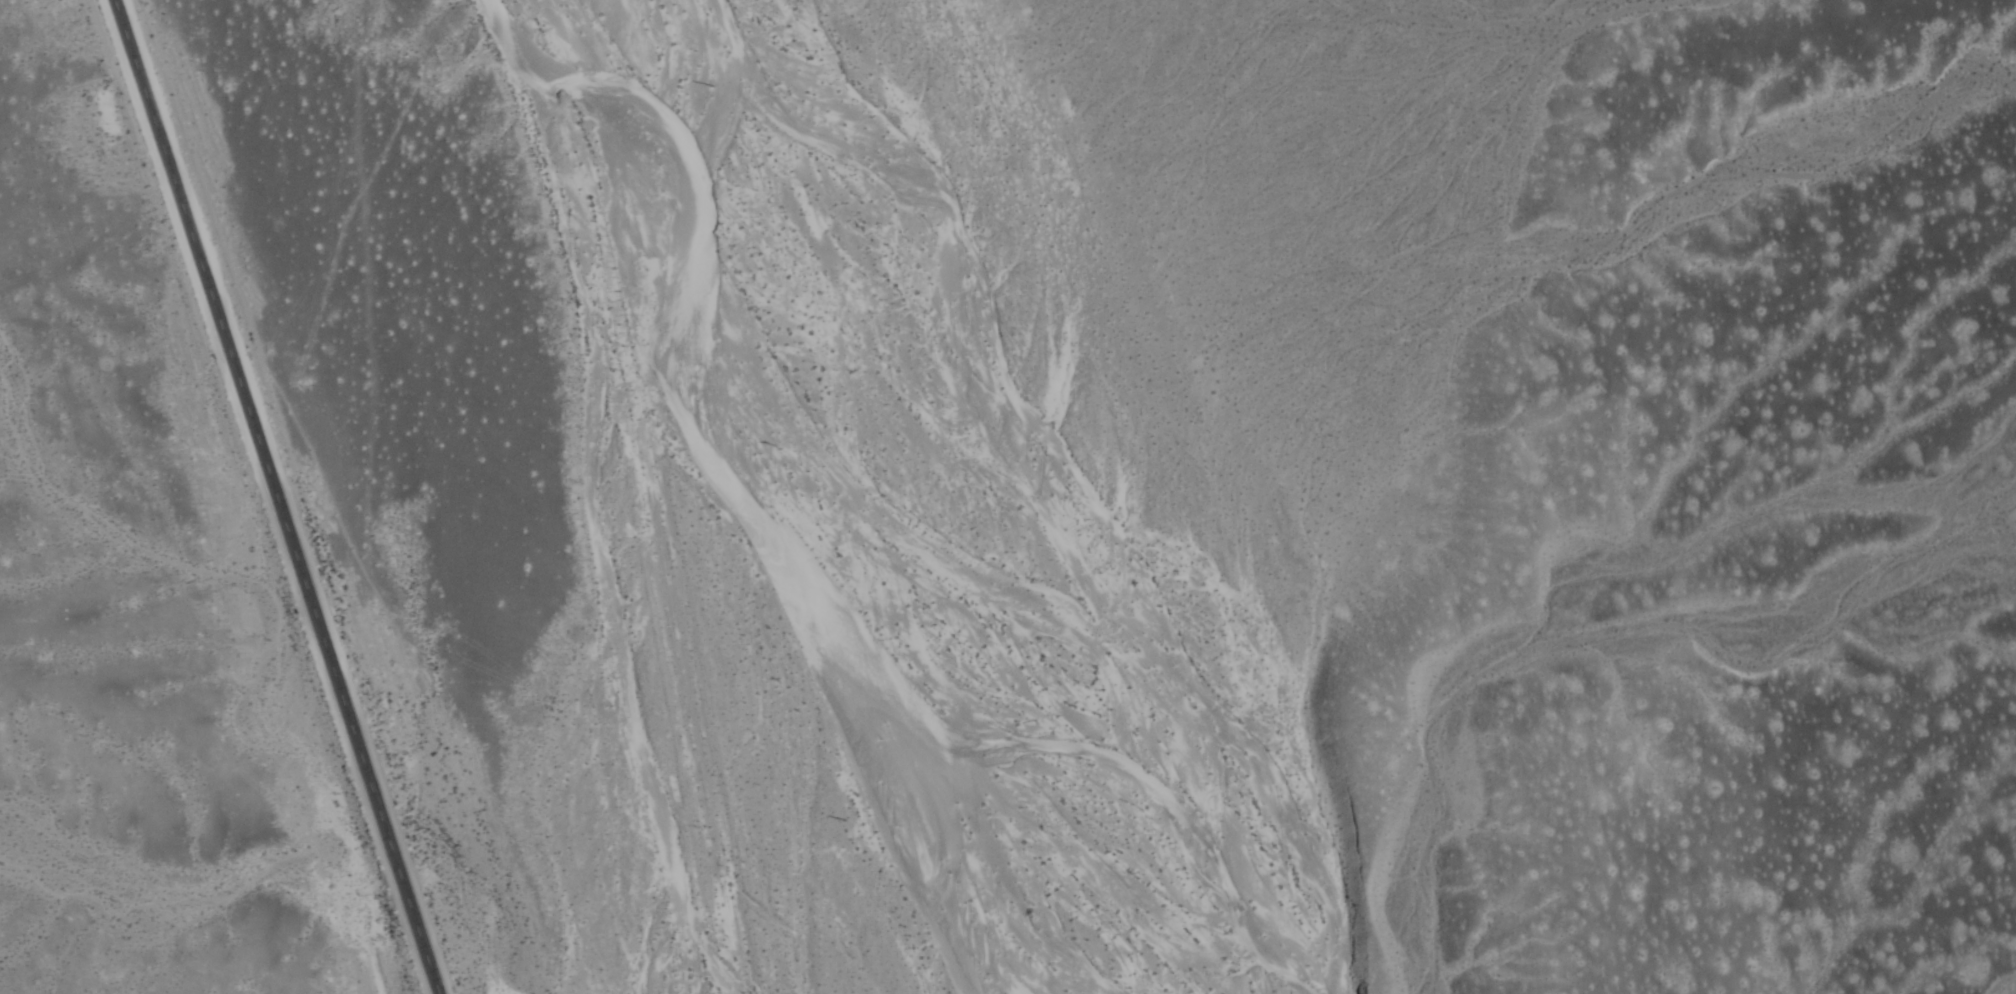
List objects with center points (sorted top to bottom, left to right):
road: (280, 496)
river: (862, 503)

